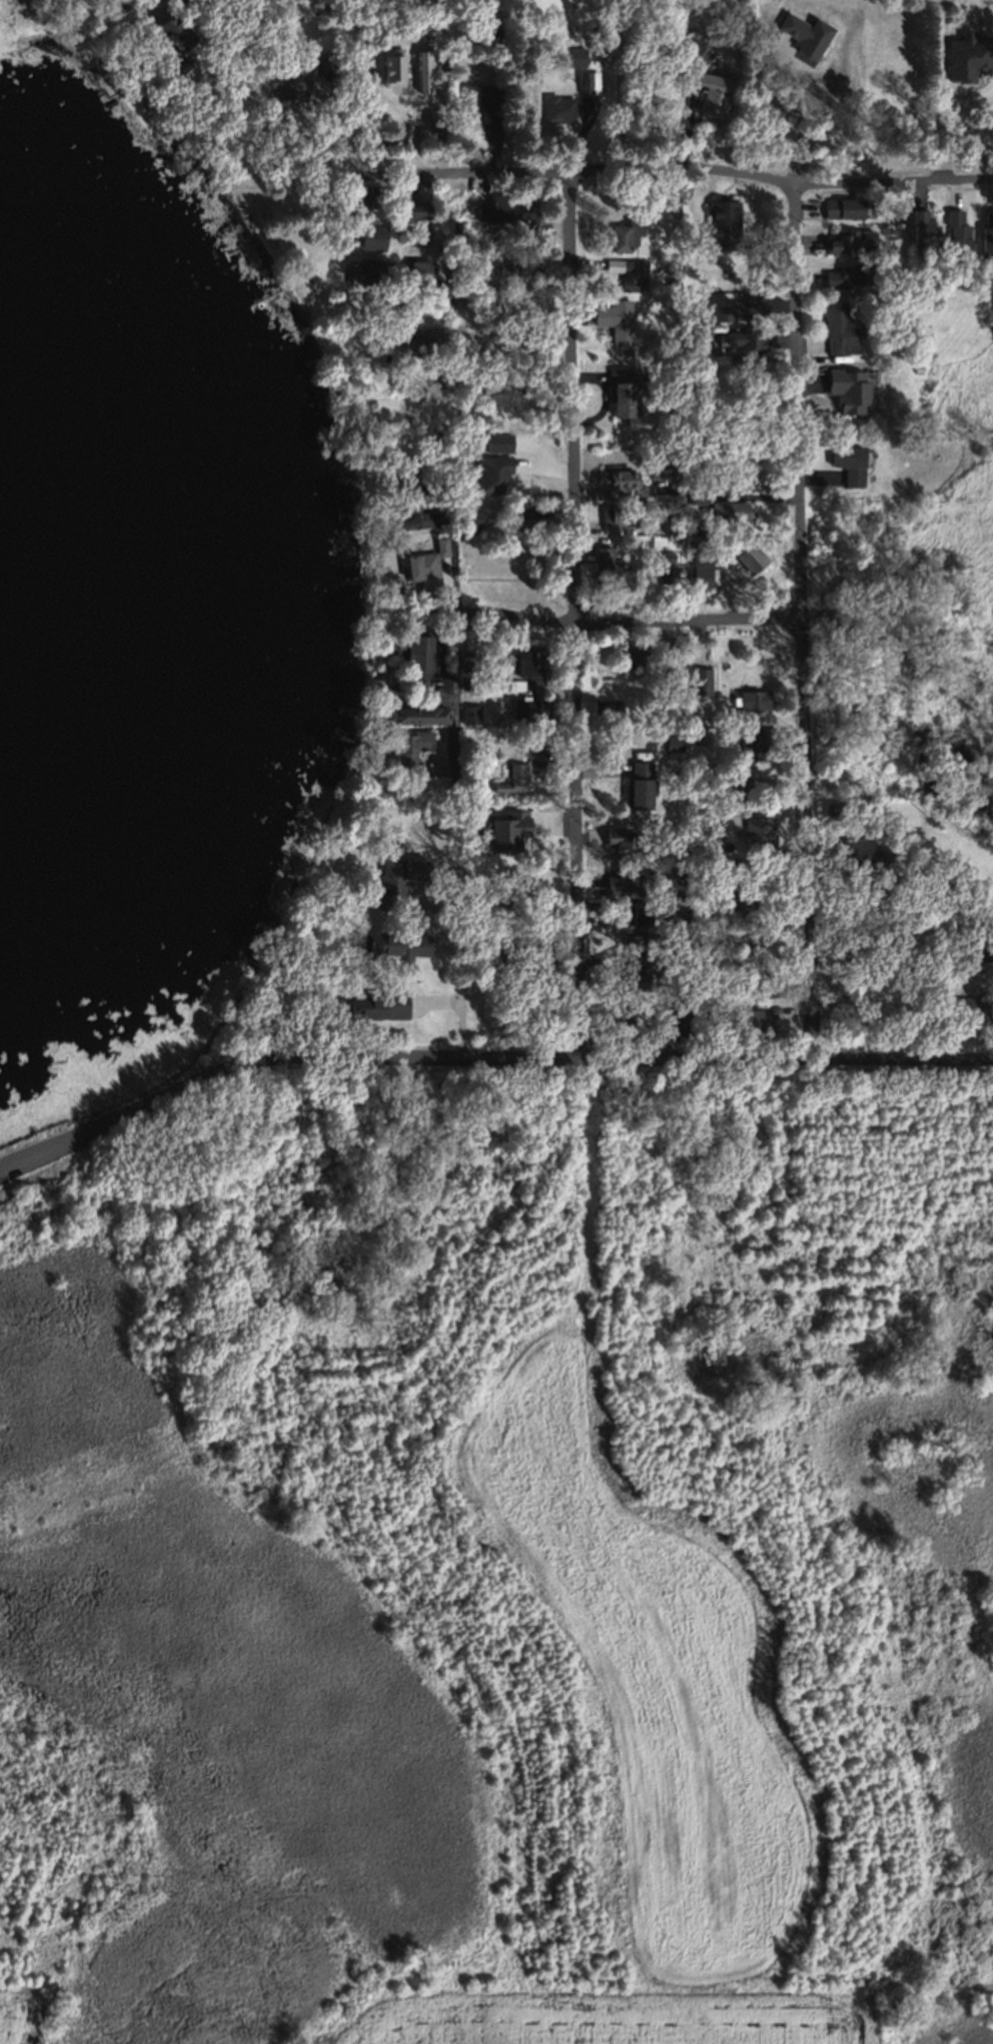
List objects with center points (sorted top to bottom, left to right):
building: (154, 11)
building: (173, 33)
building: (806, 35)
building: (571, 54)
building: (967, 55)
building: (319, 63)
building: (392, 67)
building: (420, 68)
building: (587, 80)
building: (907, 80)
building: (289, 84)
building: (909, 87)
road: (617, 92)
building: (711, 94)
building: (484, 99)
building: (557, 107)
road: (957, 136)
road: (673, 173)
building: (454, 199)
building: (359, 200)
building: (496, 204)
building: (842, 207)
building: (416, 208)
building: (528, 221)
building: (722, 224)
building: (986, 229)
building: (924, 233)
building: (955, 233)
building: (625, 234)
building: (408, 235)
building: (372, 236)
building: (850, 243)
building: (626, 269)
building: (515, 270)
building: (376, 271)
building: (418, 271)
building: (849, 274)
building: (670, 281)
building: (453, 285)
building: (458, 297)
building: (383, 302)
building: (739, 309)
building: (615, 320)
building: (837, 327)
building: (910, 331)
road: (513, 333)
building: (410, 339)
building: (745, 345)
building: (916, 367)
building: (621, 389)
building: (849, 391)
building: (434, 435)
building: (503, 440)
building: (848, 463)
building: (664, 468)
building: (493, 472)
building: (407, 477)
building: (620, 477)
building: (695, 492)
building: (529, 509)
building: (726, 510)
building: (414, 515)
building: (620, 515)
building: (470, 518)
building: (670, 527)
building: (692, 531)
building: (749, 558)
building: (425, 562)
building: (602, 564)
building: (704, 567)
building: (664, 569)
building: (390, 590)
road: (575, 615)
road: (600, 619)
road: (807, 621)
building: (670, 643)
building: (410, 653)
building: (631, 655)
building: (468, 658)
building: (533, 666)
road: (457, 678)
building: (701, 679)
building: (514, 683)
building: (749, 702)
building: (528, 706)
building: (605, 708)
building: (469, 714)
building: (417, 715)
building: (711, 719)
building: (754, 740)
building: (672, 741)
building: (410, 746)
building: (526, 746)
building: (512, 779)
building: (731, 782)
building: (432, 783)
building: (640, 784)
building: (832, 809)
building: (762, 828)
building: (506, 833)
building: (621, 843)
building: (867, 865)
building: (675, 875)
building: (396, 878)
building: (763, 878)
building: (450, 881)
building: (622, 884)
building: (736, 902)
building: (631, 914)
building: (677, 922)
building: (397, 939)
building: (858, 944)
building: (516, 948)
building: (889, 949)
building: (976, 949)
building: (703, 955)
building: (981, 960)
building: (929, 961)
building: (632, 972)
road: (461, 973)
building: (933, 976)
building: (764, 985)
building: (839, 988)
building: (378, 1005)
building: (973, 1009)
building: (671, 1012)
building: (619, 1015)
building: (755, 1019)
road: (601, 1058)
road: (107, 1126)

